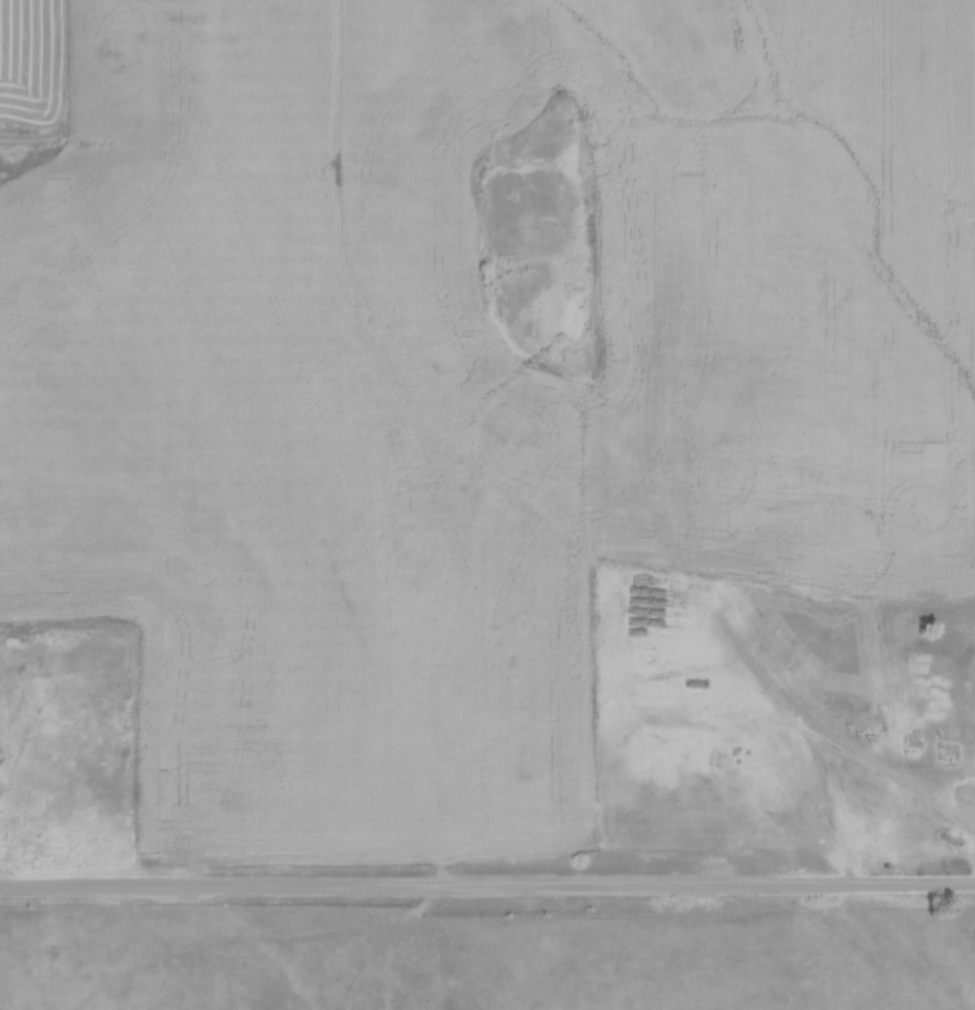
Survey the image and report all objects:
road: (487, 886)

